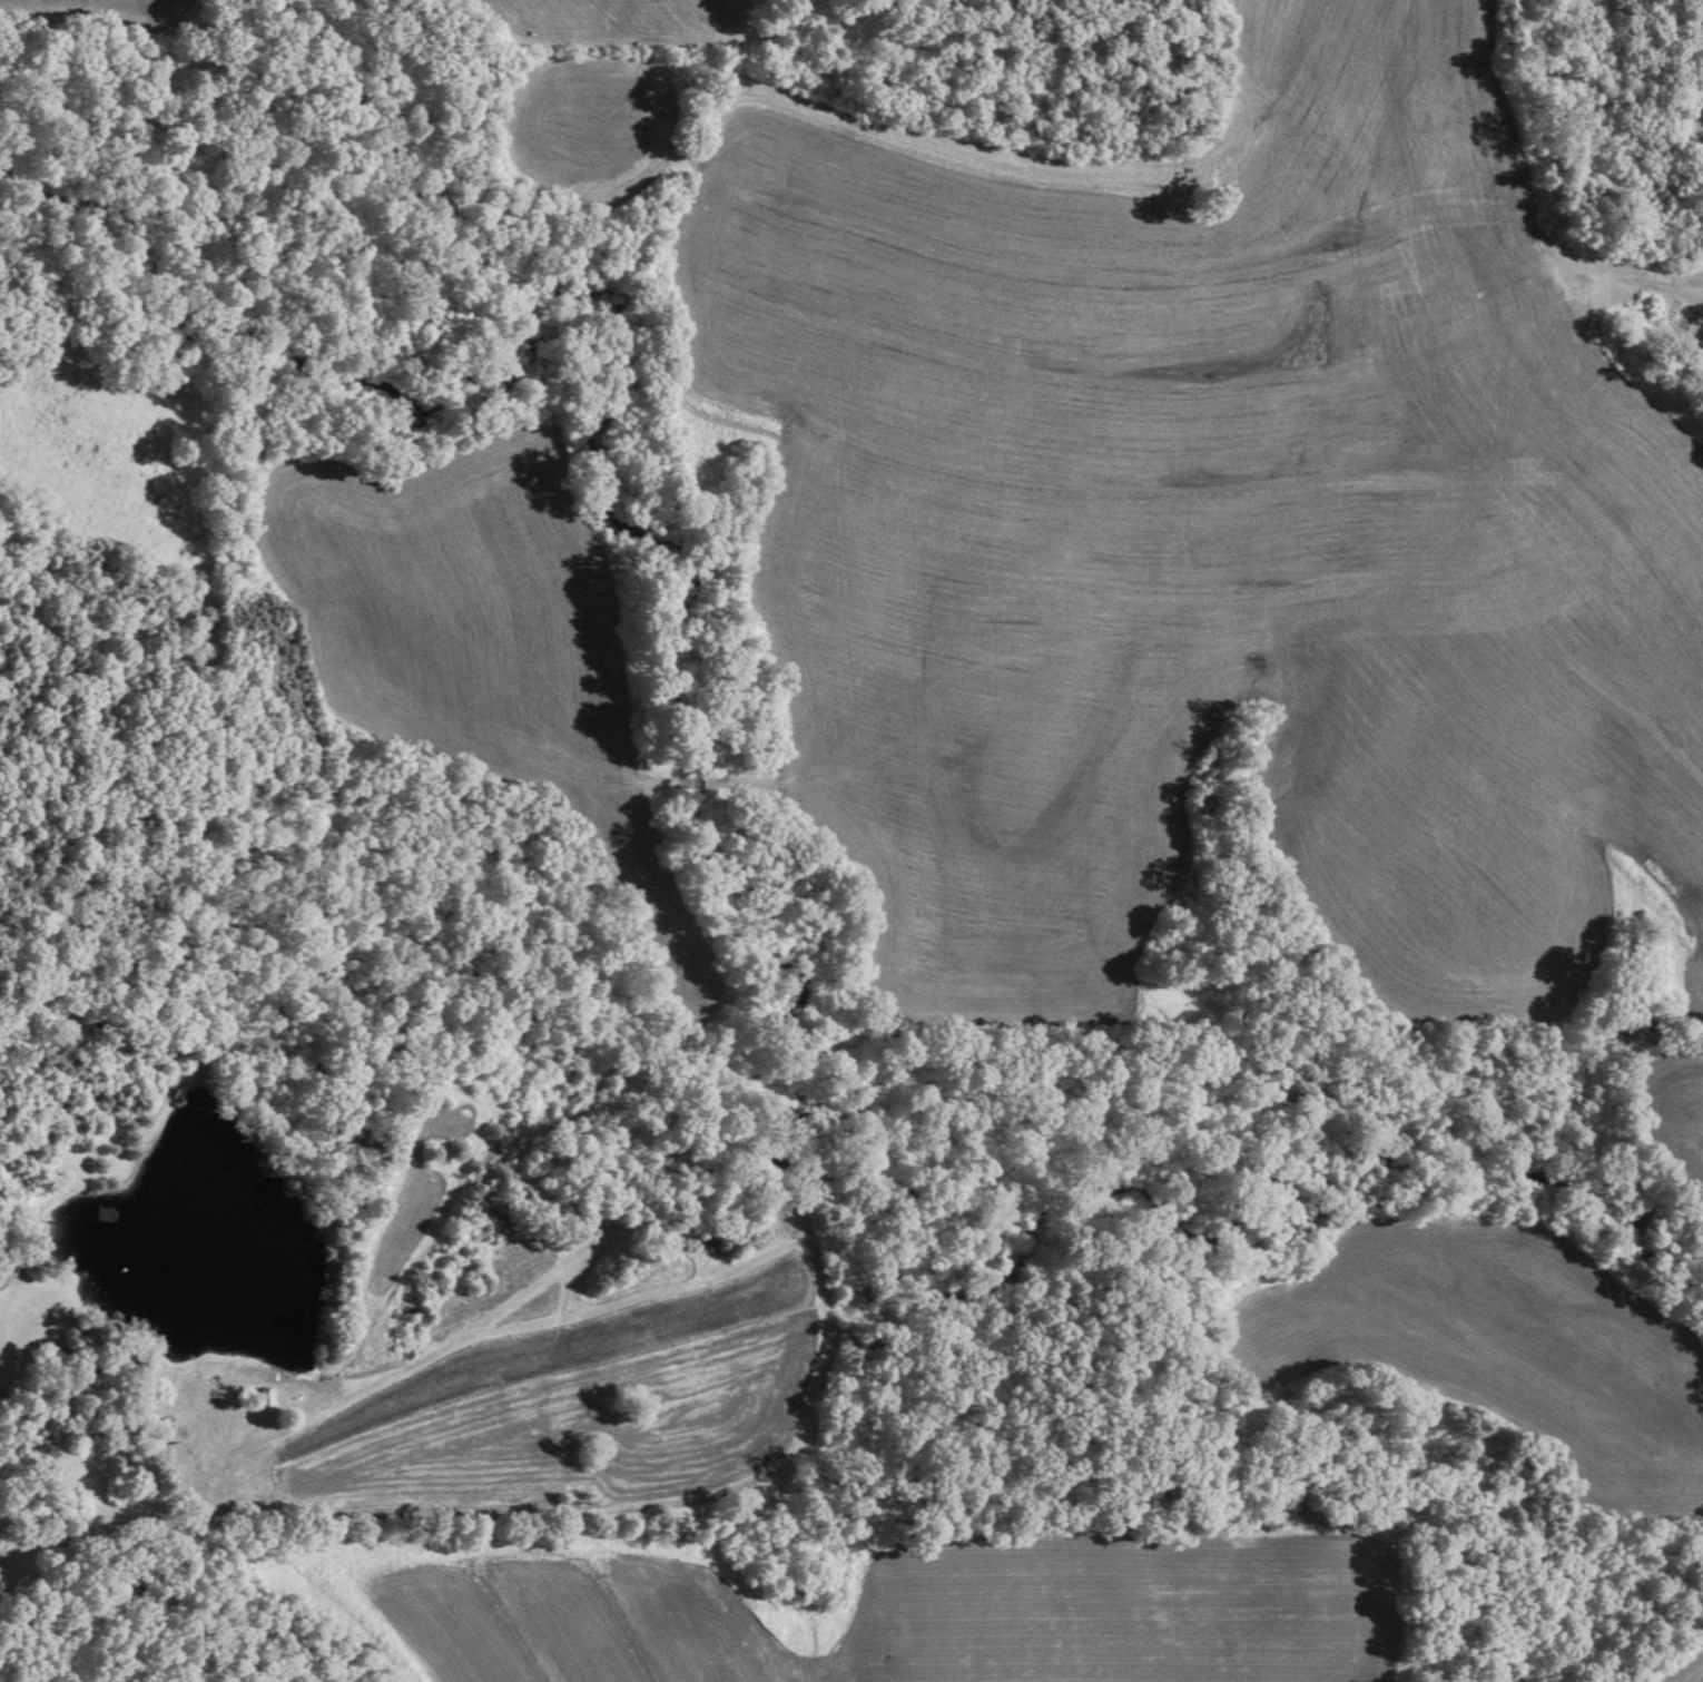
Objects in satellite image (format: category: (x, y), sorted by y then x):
building: (1701, 347)
road: (86, 1535)

